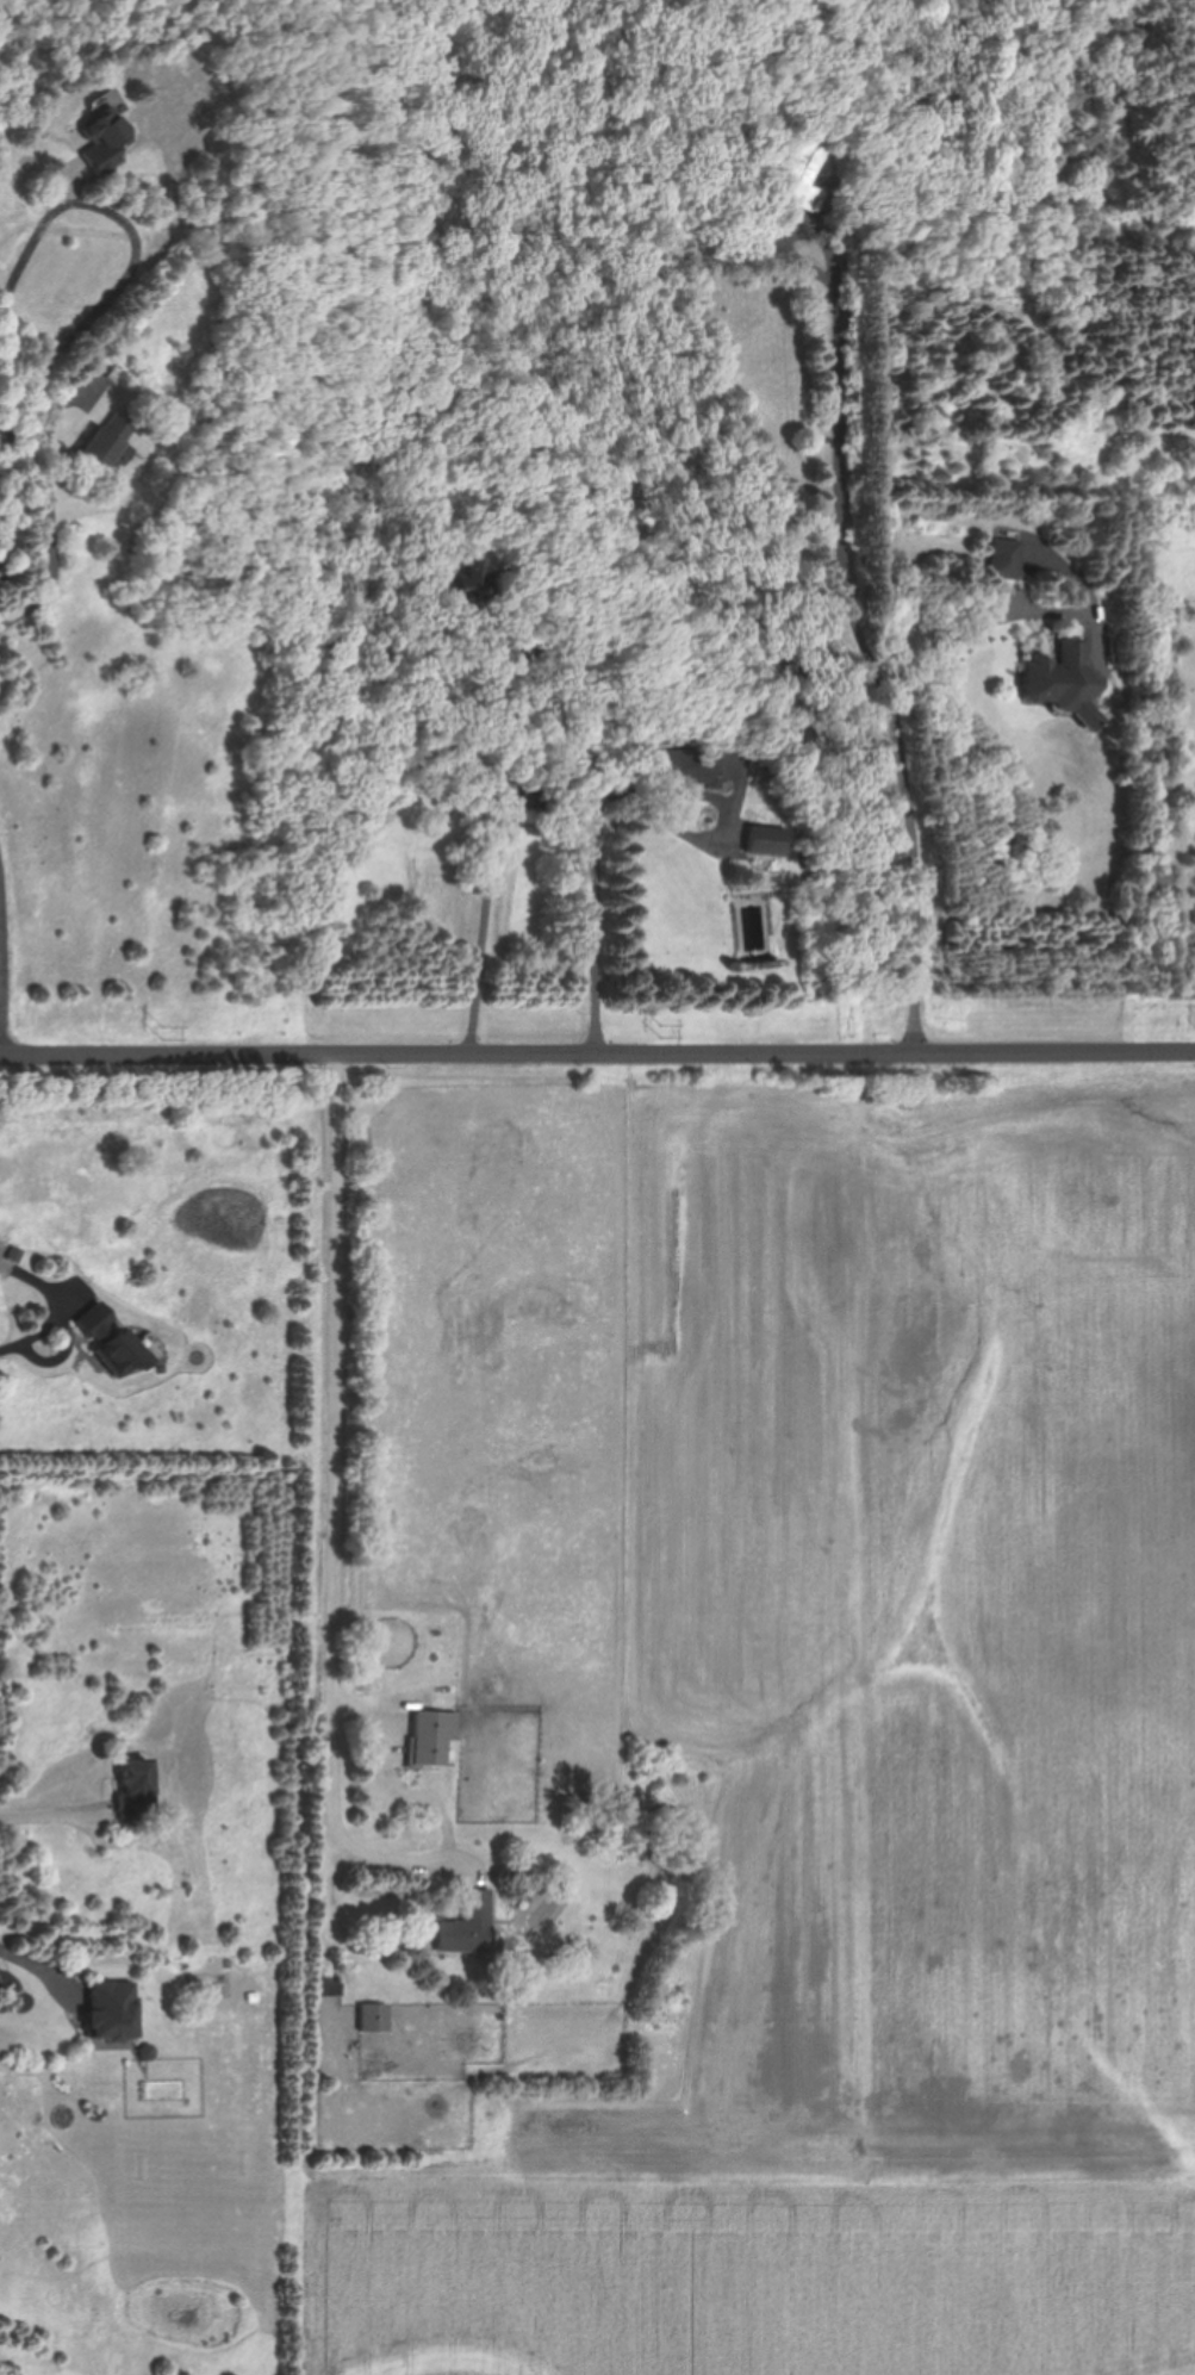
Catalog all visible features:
building: (101, 132)
building: (795, 173)
road: (12, 294)
building: (105, 441)
road: (842, 454)
road: (5, 481)
road: (51, 515)
building: (1002, 558)
road: (970, 627)
building: (1054, 674)
building: (683, 765)
building: (759, 846)
road: (492, 854)
road: (916, 873)
road: (596, 884)
road: (4, 988)
power tower: (662, 1028)
power tower: (157, 1033)
road: (597, 1053)
building: (107, 1338)
road: (67, 1342)
road: (10, 1347)
road: (340, 1375)
building: (428, 1735)
building: (130, 1786)
road: (428, 1801)
road: (48, 1810)
building: (462, 1923)
road: (35, 1975)
building: (105, 2009)
building: (371, 2015)

